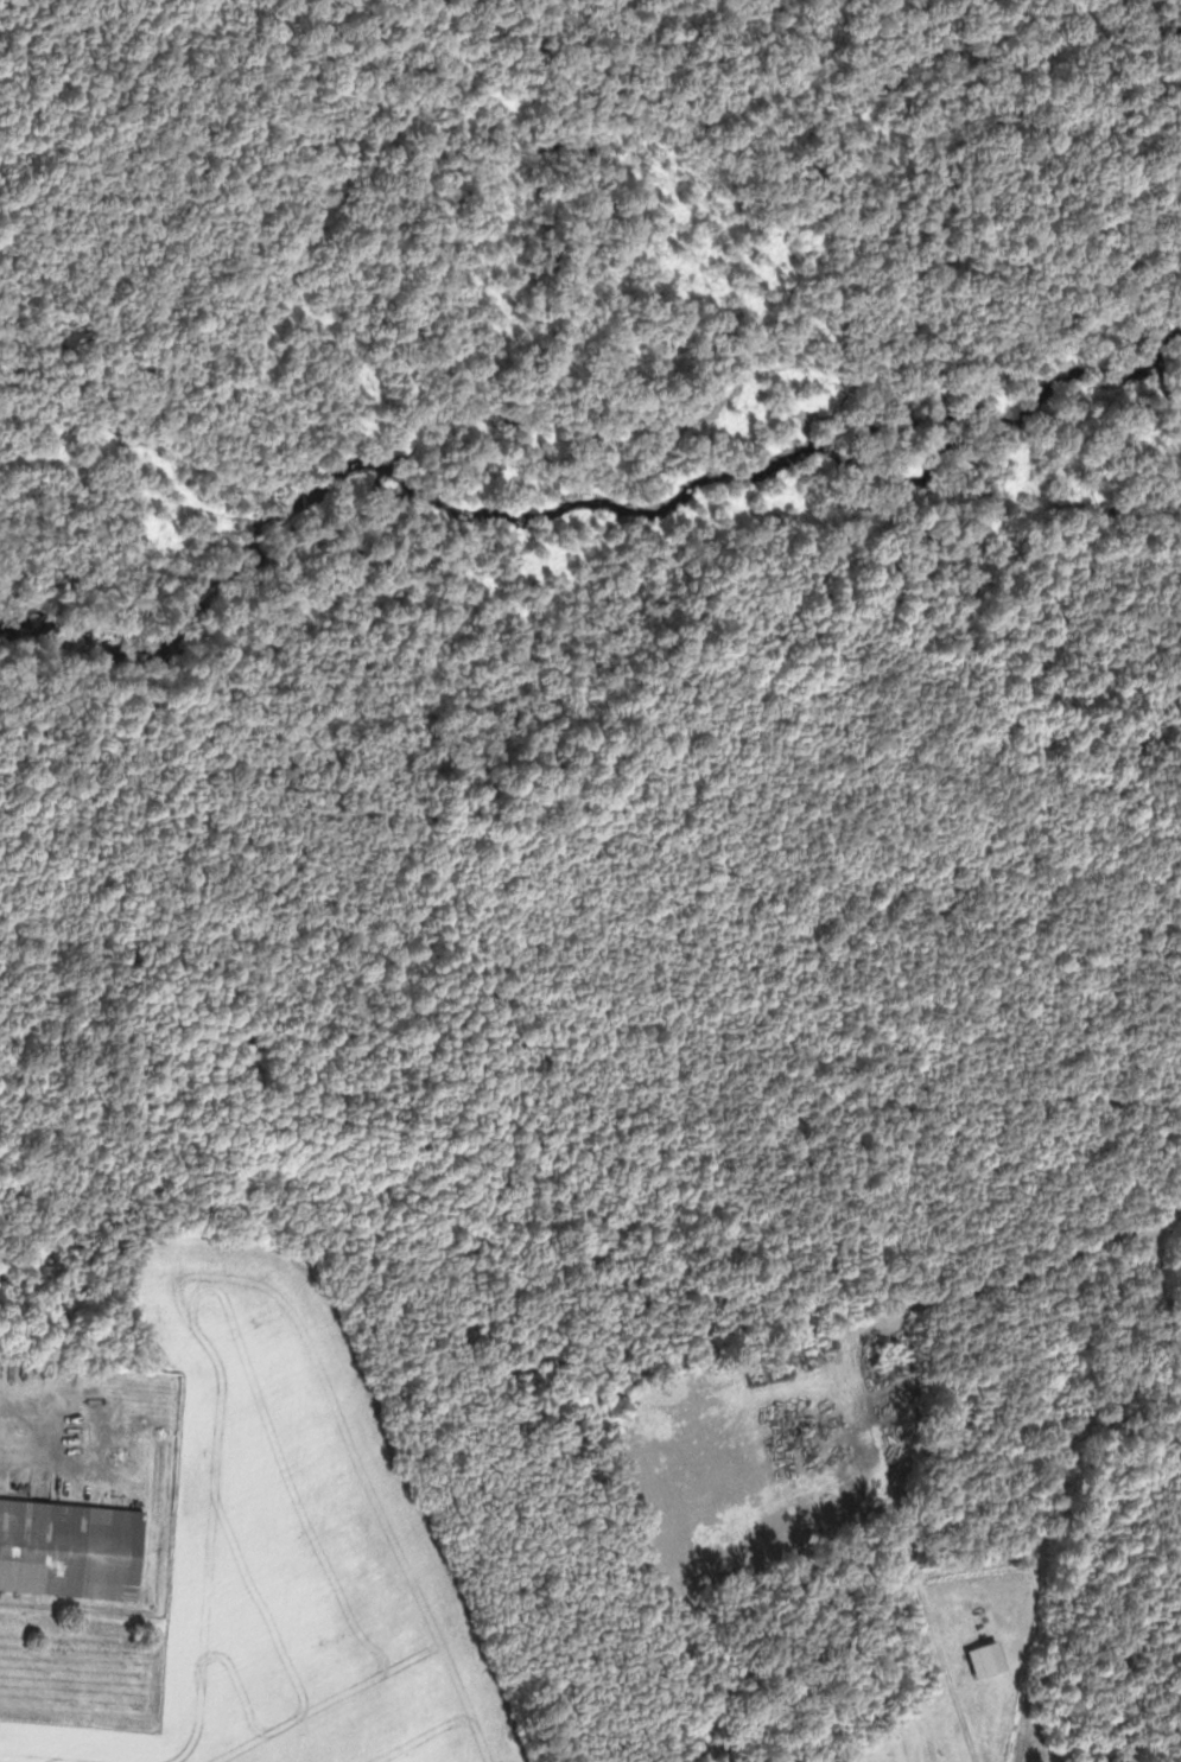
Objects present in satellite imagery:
building: (74, 1550)

